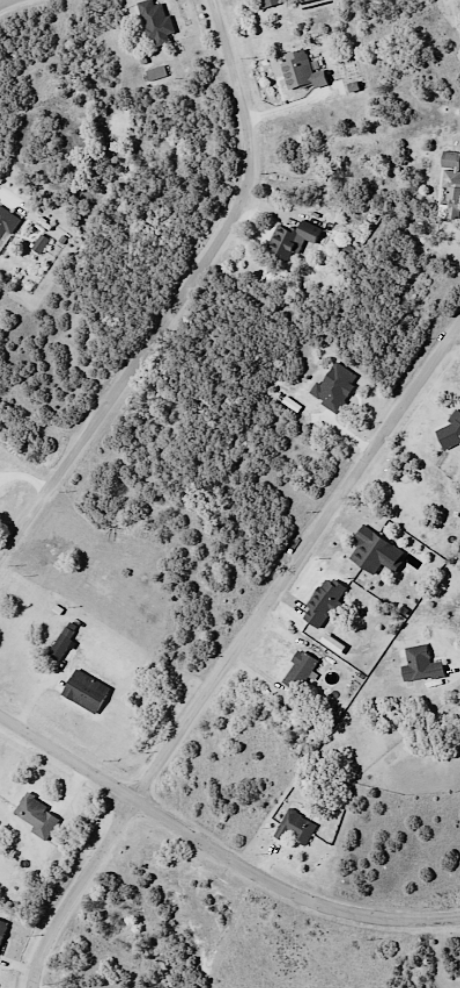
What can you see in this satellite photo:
road: (4, 2)
building: (268, 3)
building: (154, 23)
building: (299, 71)
building: (449, 187)
building: (6, 225)
building: (290, 240)
road: (184, 297)
road: (458, 329)
road: (458, 332)
building: (447, 431)
building: (370, 552)
building: (321, 604)
building: (58, 648)
road: (236, 654)
building: (419, 665)
building: (297, 671)
building: (84, 692)
building: (35, 817)
building: (293, 828)
road: (218, 849)
building: (2, 928)

